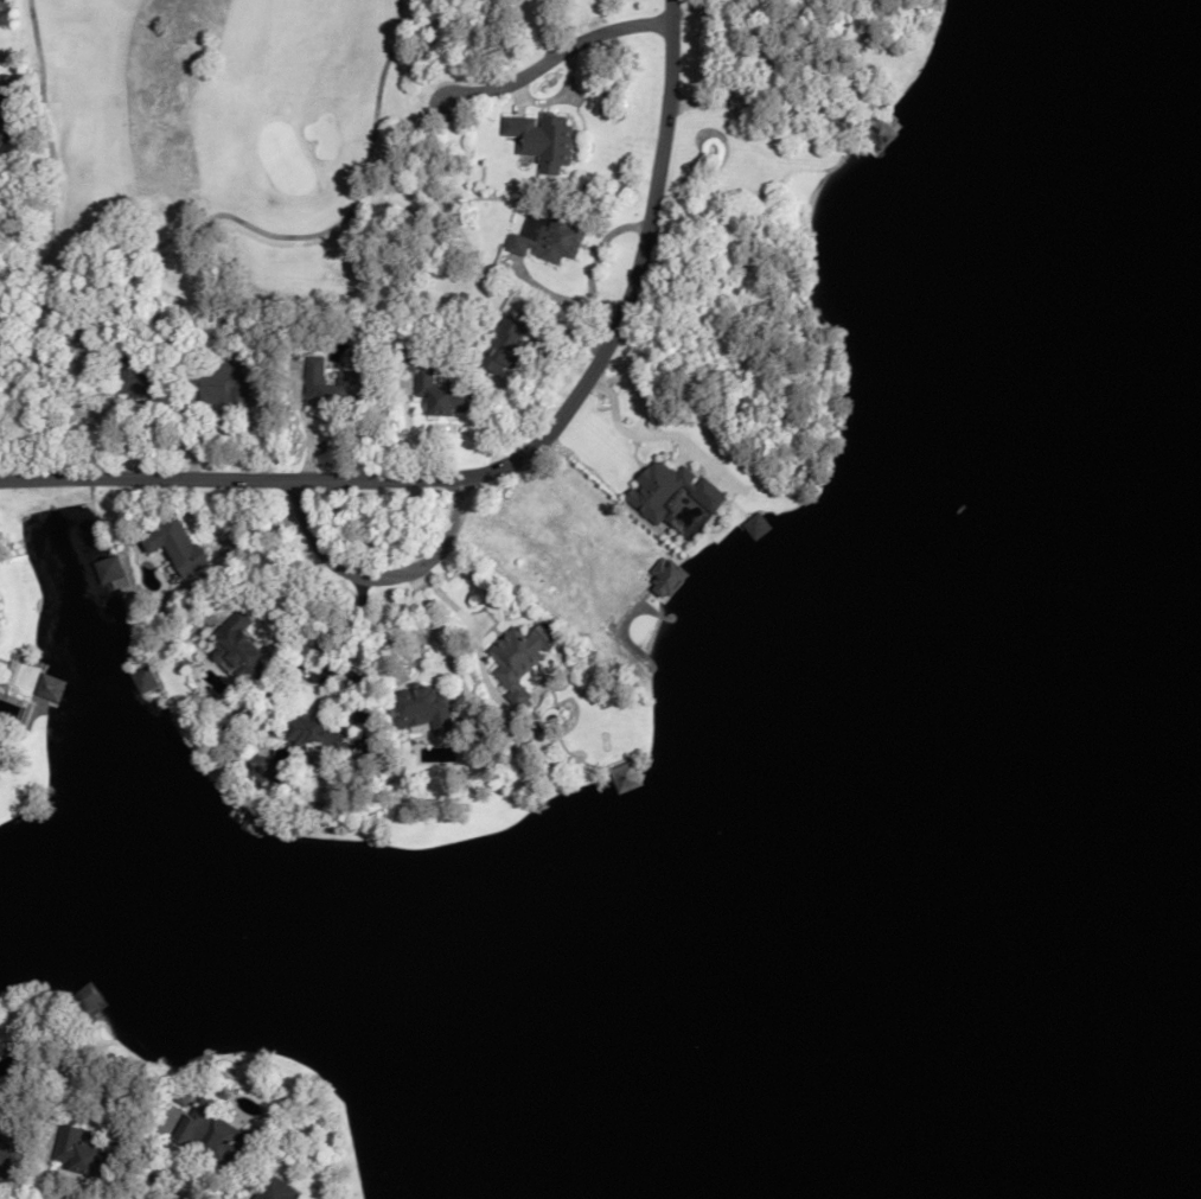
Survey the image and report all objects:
building: (5, 12)
road: (560, 51)
building: (5, 88)
building: (5, 126)
building: (539, 139)
building: (545, 237)
building: (504, 343)
building: (138, 372)
building: (222, 385)
building: (327, 388)
building: (441, 393)
road: (506, 461)
building: (669, 490)
building: (758, 525)
building: (177, 547)
road: (381, 575)
road: (467, 623)
road: (436, 630)
road: (349, 632)
building: (241, 646)
building: (522, 657)
building: (145, 678)
building: (52, 687)
building: (422, 709)
building: (313, 732)
building: (626, 777)
building: (87, 997)
building: (217, 1136)
building: (84, 1153)
building: (6, 1157)
building: (275, 1191)

